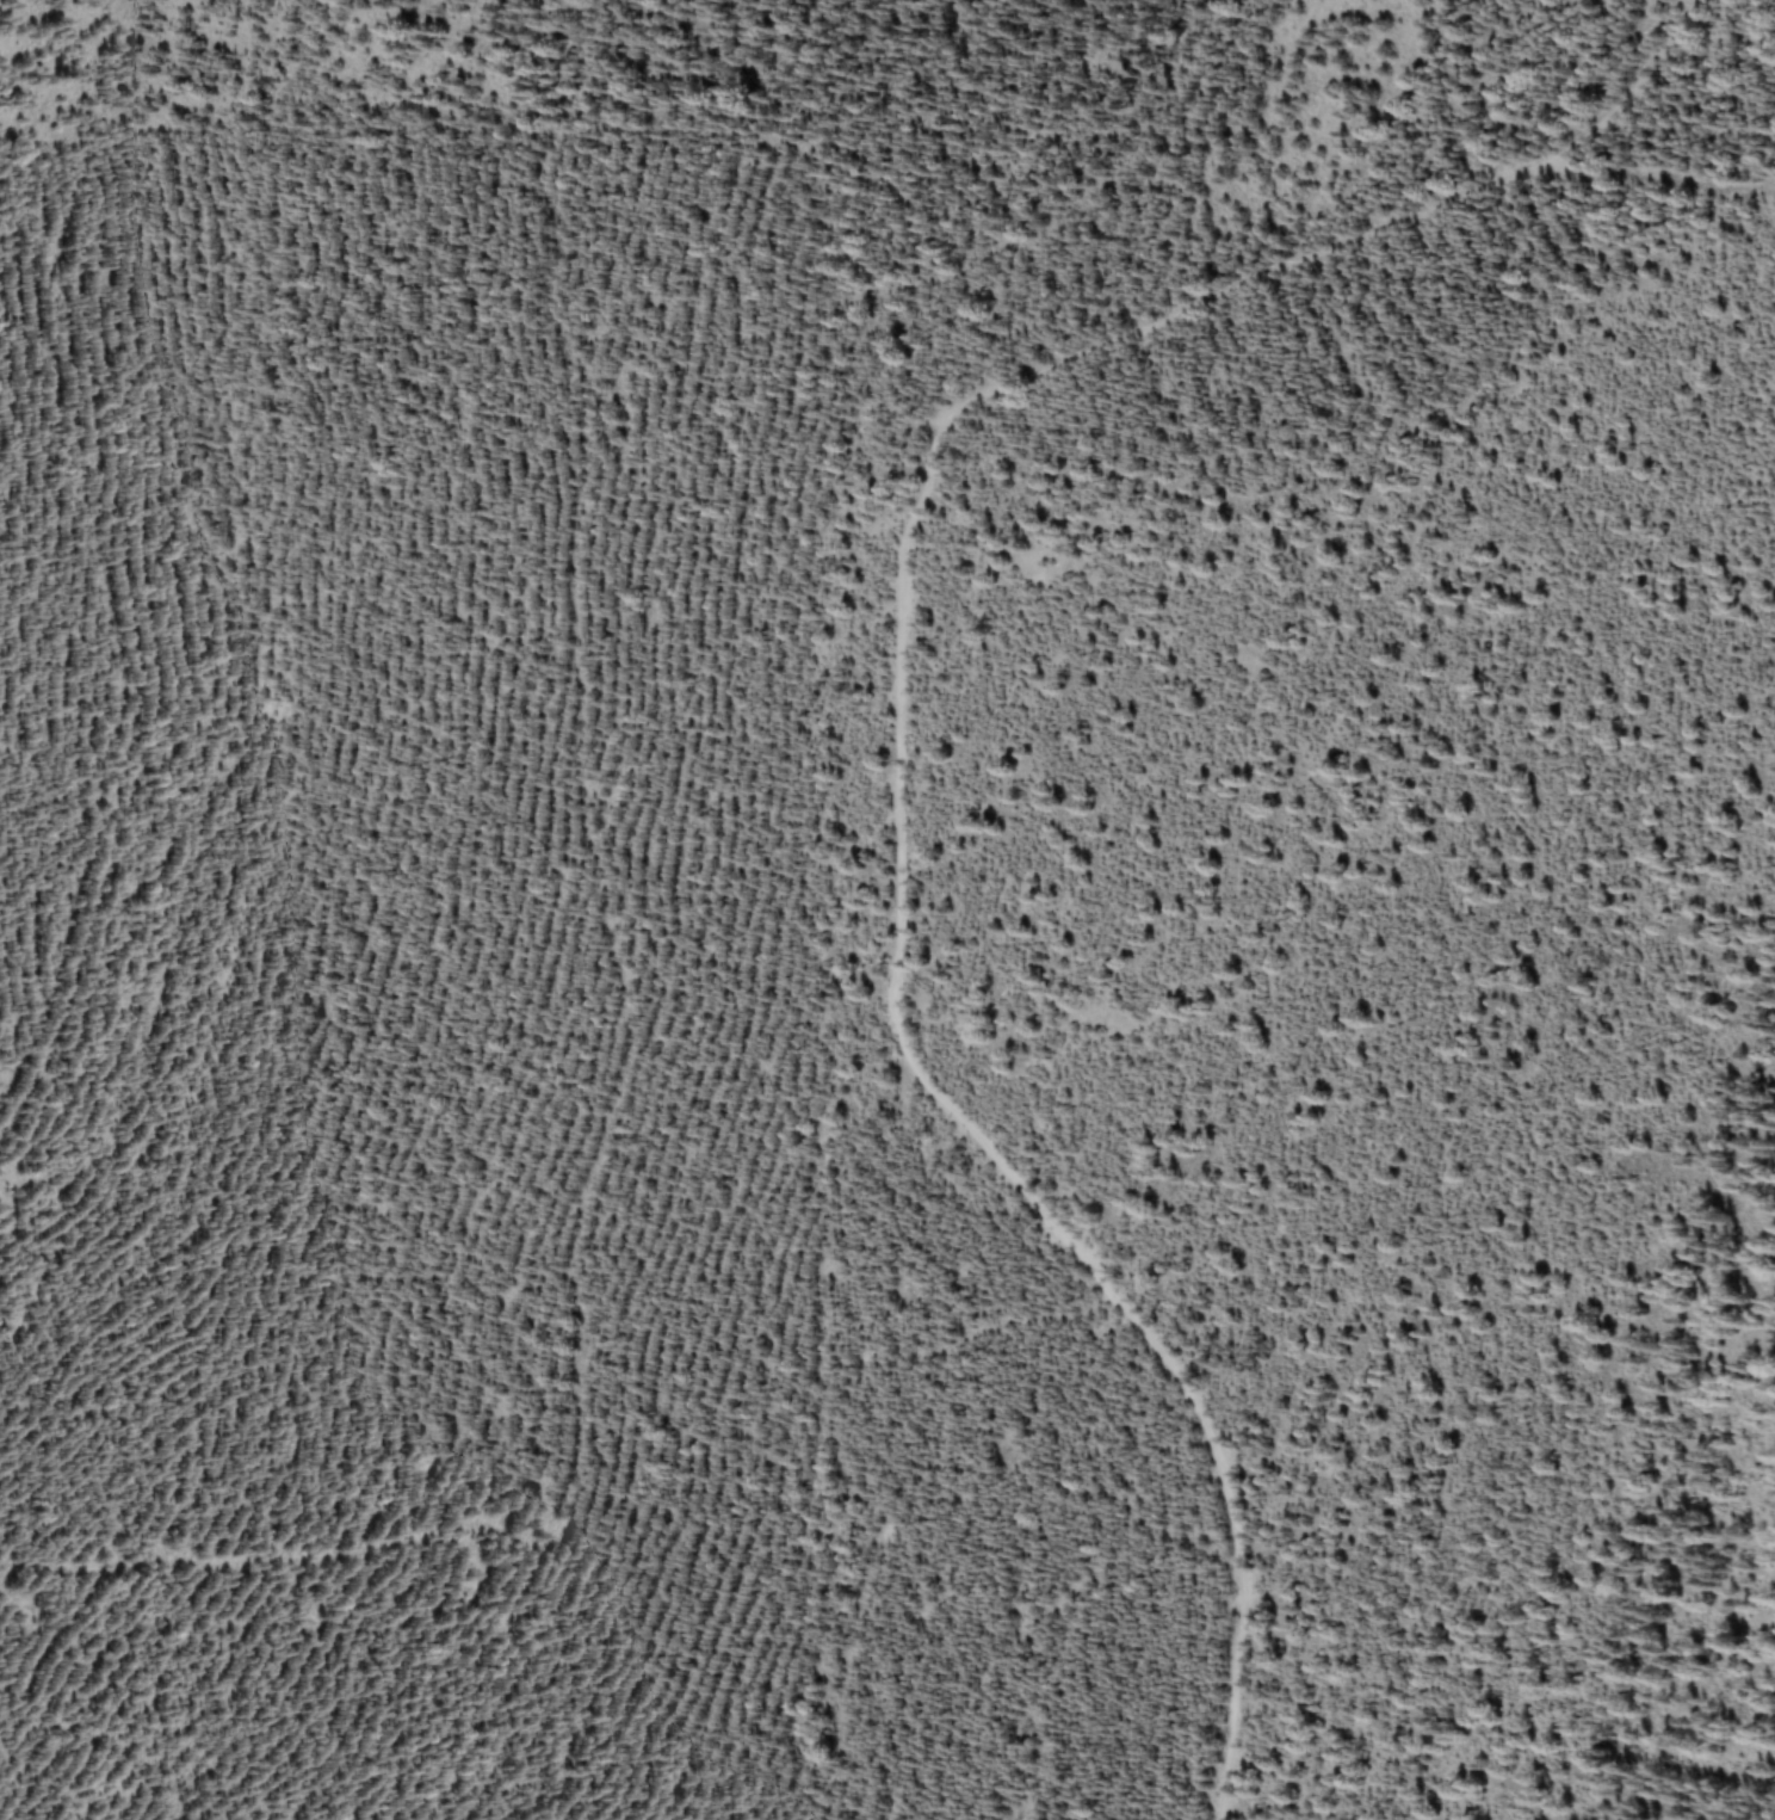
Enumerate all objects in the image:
road: (821, 721)

